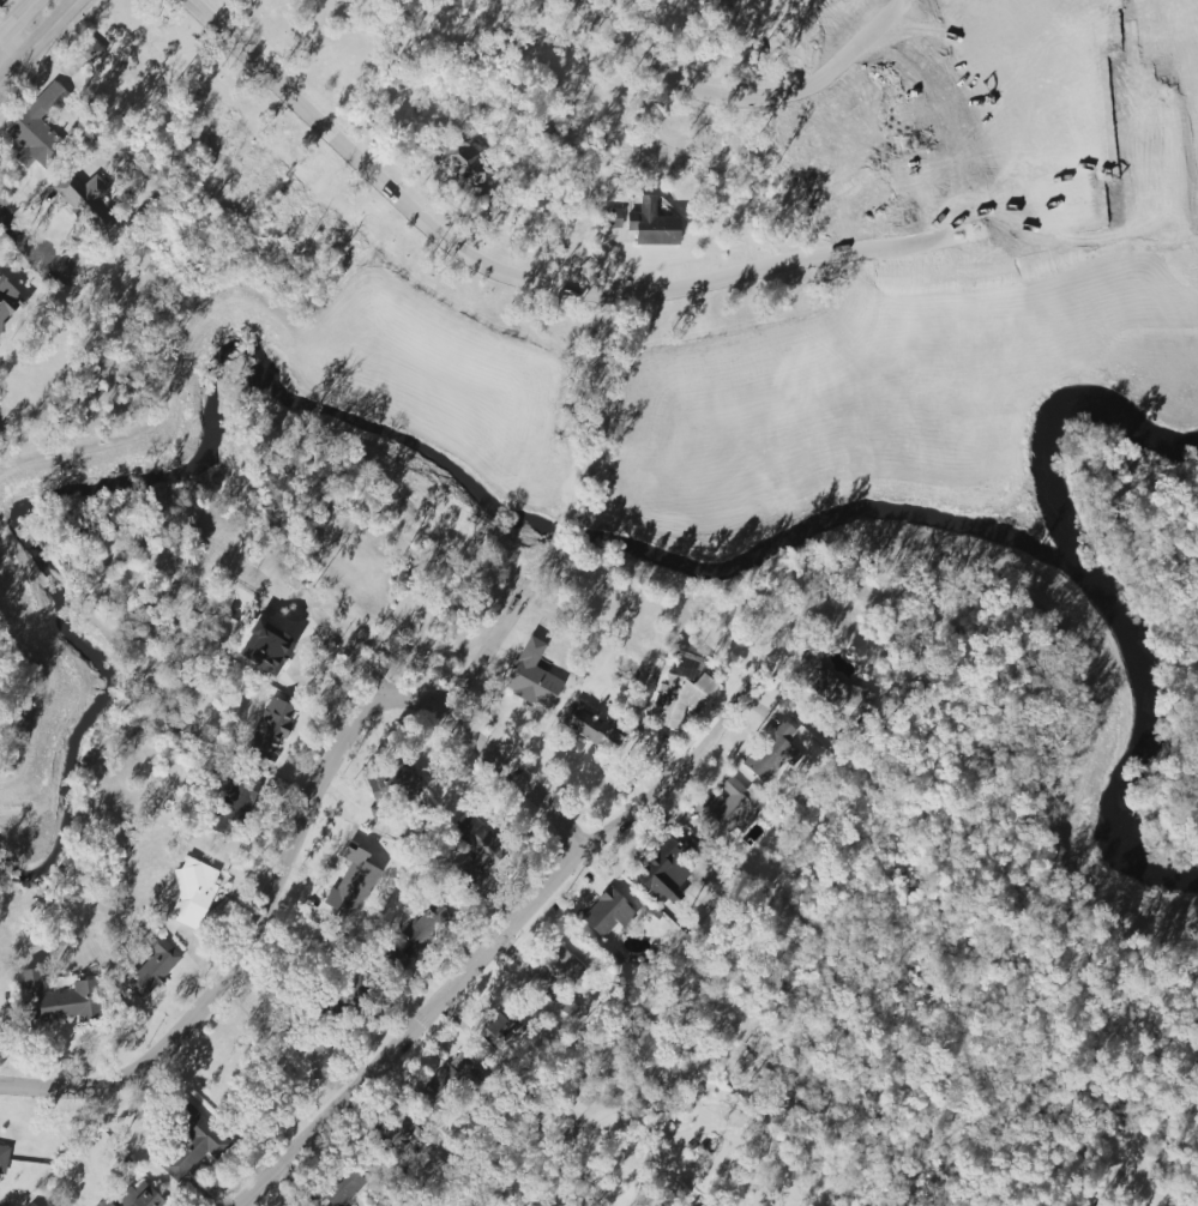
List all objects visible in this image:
park: (866, 6)
road: (29, 7)
park: (1148, 11)
road: (1163, 25)
road: (11, 26)
road: (44, 31)
building: (91, 50)
road: (7, 55)
building: (138, 59)
road: (7, 70)
road: (744, 96)
park: (1179, 108)
building: (38, 128)
building: (458, 163)
road: (1168, 195)
building: (86, 200)
building: (613, 218)
building: (651, 224)
road: (40, 246)
road: (715, 278)
building: (6, 300)
road: (596, 400)
road: (552, 535)
river: (1103, 589)
road: (492, 641)
building: (266, 644)
building: (532, 677)
building: (681, 698)
building: (848, 698)
building: (591, 725)
building: (269, 729)
building: (770, 750)
building: (390, 779)
building: (234, 802)
building: (733, 807)
road: (301, 831)
building: (476, 851)
building: (664, 873)
building: (350, 886)
building: (192, 893)
building: (606, 912)
building: (413, 939)
road: (480, 953)
building: (152, 966)
building: (555, 975)
building: (356, 993)
building: (62, 999)
building: (498, 1031)
building: (644, 1047)
building: (451, 1079)
building: (401, 1130)
building: (189, 1148)
road: (669, 1157)
building: (2, 1158)
road: (779, 1163)
road: (1140, 1184)
building: (137, 1195)
building: (687, 1205)

